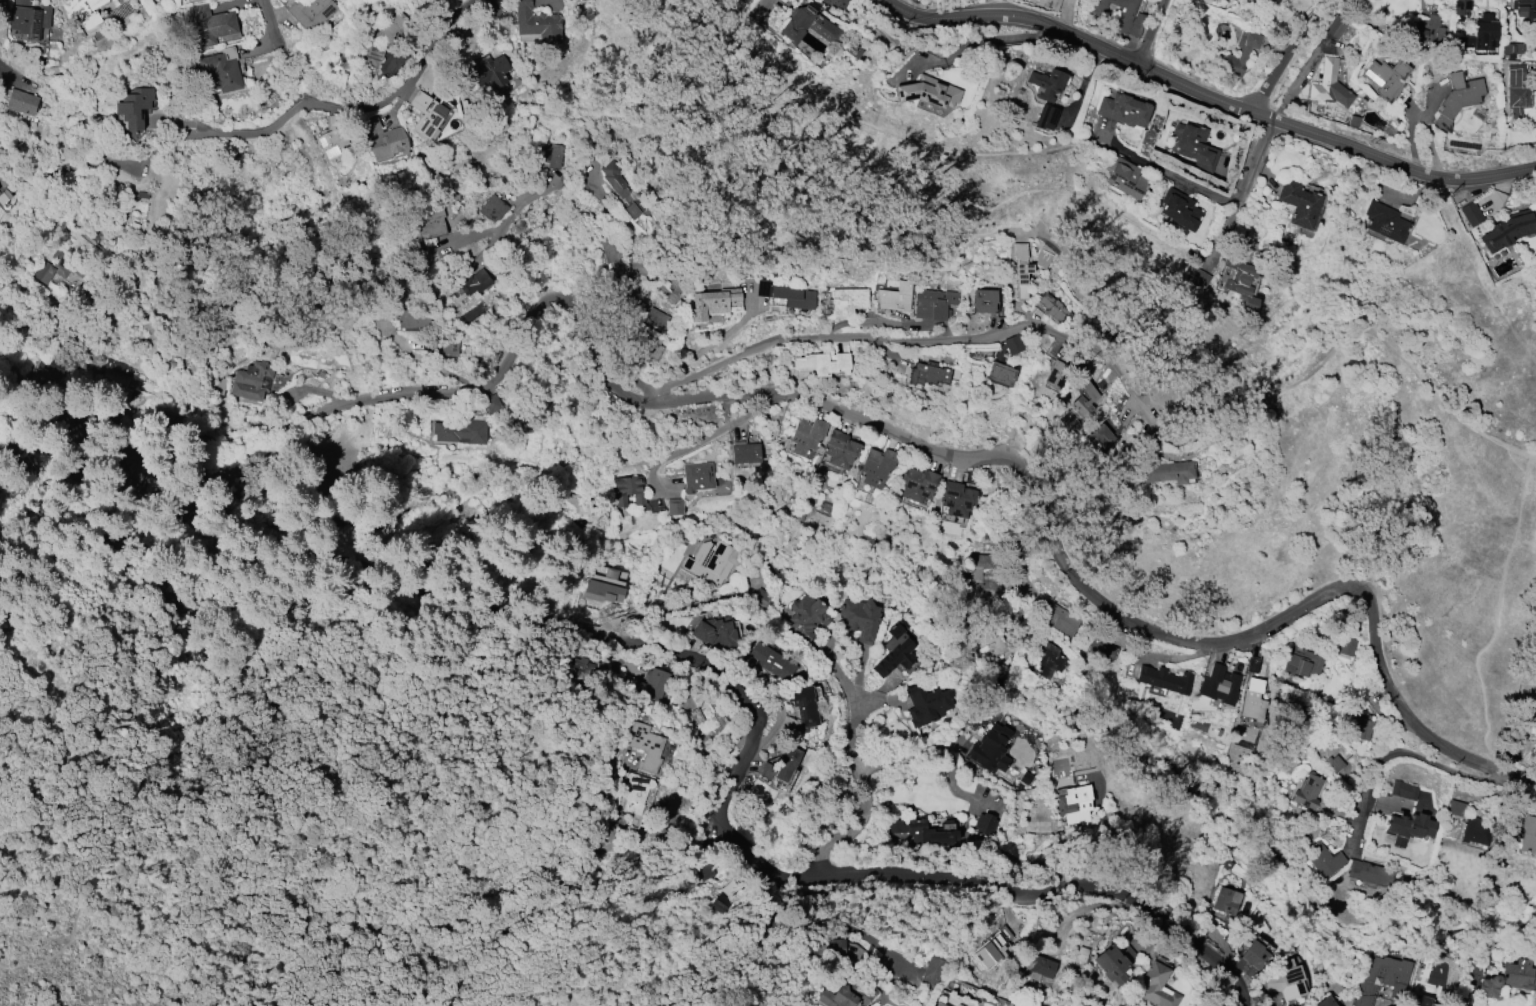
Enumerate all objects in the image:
building: (0, 0)
building: (188, 0)
building: (21, 2)
building: (835, 3)
building: (1046, 3)
building: (1461, 7)
building: (1525, 10)
building: (82, 11)
building: (311, 12)
road: (270, 15)
building: (1118, 15)
building: (29, 20)
building: (536, 23)
building: (210, 24)
building: (806, 26)
building: (1338, 27)
building: (392, 28)
road: (1152, 32)
building: (1422, 33)
building: (1483, 33)
building: (1464, 42)
building: (851, 50)
building: (1513, 50)
building: (375, 53)
building: (1214, 53)
road: (1289, 54)
building: (221, 70)
building: (491, 70)
road: (25, 72)
building: (1515, 76)
building: (1384, 78)
building: (1046, 83)
building: (1328, 85)
building: (928, 92)
road: (1209, 96)
building: (1457, 98)
building: (21, 101)
building: (1517, 101)
road: (297, 107)
building: (134, 108)
building: (1123, 110)
building: (426, 113)
building: (1046, 117)
building: (1353, 120)
building: (383, 138)
building: (330, 144)
building: (1195, 146)
building: (551, 155)
road: (1166, 167)
road: (792, 173)
building: (1123, 177)
road: (1242, 187)
building: (4, 189)
building: (623, 190)
building: (1299, 203)
building: (492, 208)
road: (610, 208)
building: (1179, 209)
building: (1470, 214)
building: (429, 221)
building: (1384, 221)
building: (1508, 230)
road: (490, 246)
building: (611, 253)
building: (57, 267)
building: (1020, 269)
road: (1481, 274)
building: (1195, 277)
building: (474, 282)
building: (1242, 284)
building: (785, 294)
building: (894, 297)
building: (983, 300)
road: (1088, 300)
building: (847, 301)
building: (712, 303)
building: (933, 303)
building: (1054, 310)
building: (415, 319)
building: (656, 319)
road: (826, 335)
road: (1344, 337)
building: (1014, 343)
building: (651, 344)
building: (443, 346)
road: (705, 347)
road: (1098, 352)
road: (422, 357)
building: (822, 363)
building: (320, 373)
building: (1000, 373)
building: (928, 374)
building: (1055, 377)
building: (116, 378)
building: (251, 380)
road: (13, 382)
building: (491, 403)
building: (1081, 407)
building: (460, 431)
road: (65, 435)
building: (1105, 435)
building: (806, 437)
road: (115, 438)
road: (703, 438)
road: (926, 445)
building: (839, 449)
building: (744, 453)
building: (876, 465)
building: (1167, 472)
building: (697, 477)
building: (917, 484)
building: (628, 490)
building: (956, 498)
building: (674, 507)
road: (1021, 525)
road: (531, 540)
building: (712, 561)
building: (982, 576)
building: (603, 591)
building: (761, 597)
road: (1496, 611)
building: (807, 616)
building: (861, 618)
building: (1061, 618)
building: (716, 633)
building: (993, 642)
building: (1346, 645)
building: (1105, 647)
road: (391, 649)
building: (895, 651)
building: (1050, 659)
building: (771, 661)
building: (1302, 663)
building: (1252, 664)
building: (580, 668)
building: (1163, 679)
building: (1217, 684)
building: (652, 685)
building: (1253, 701)
building: (926, 704)
building: (804, 708)
building: (1292, 712)
building: (701, 715)
building: (1359, 726)
building: (645, 746)
road: (947, 749)
building: (989, 749)
road: (1395, 753)
building: (1334, 763)
building: (786, 768)
building: (766, 770)
road: (860, 775)
road: (694, 779)
road: (733, 781)
building: (1404, 790)
building: (635, 791)
building: (1308, 791)
building: (1075, 804)
building: (1456, 807)
building: (985, 823)
building: (1410, 826)
building: (897, 827)
building: (927, 833)
building: (1526, 833)
building: (595, 838)
road: (213, 842)
road: (596, 859)
building: (1322, 859)
road: (533, 870)
building: (704, 871)
building: (1371, 873)
road: (76, 881)
building: (1226, 902)
building: (720, 903)
road: (310, 909)
building: (827, 951)
building: (1250, 959)
building: (1114, 962)
road: (630, 966)
building: (1039, 968)
road: (111, 970)
building: (932, 970)
building: (1383, 974)
building: (1507, 979)
building: (1285, 980)
building: (1158, 986)
building: (846, 991)
building: (1325, 1002)
building: (1204, 1004)
building: (1413, 1005)
building: (1425, 1005)

